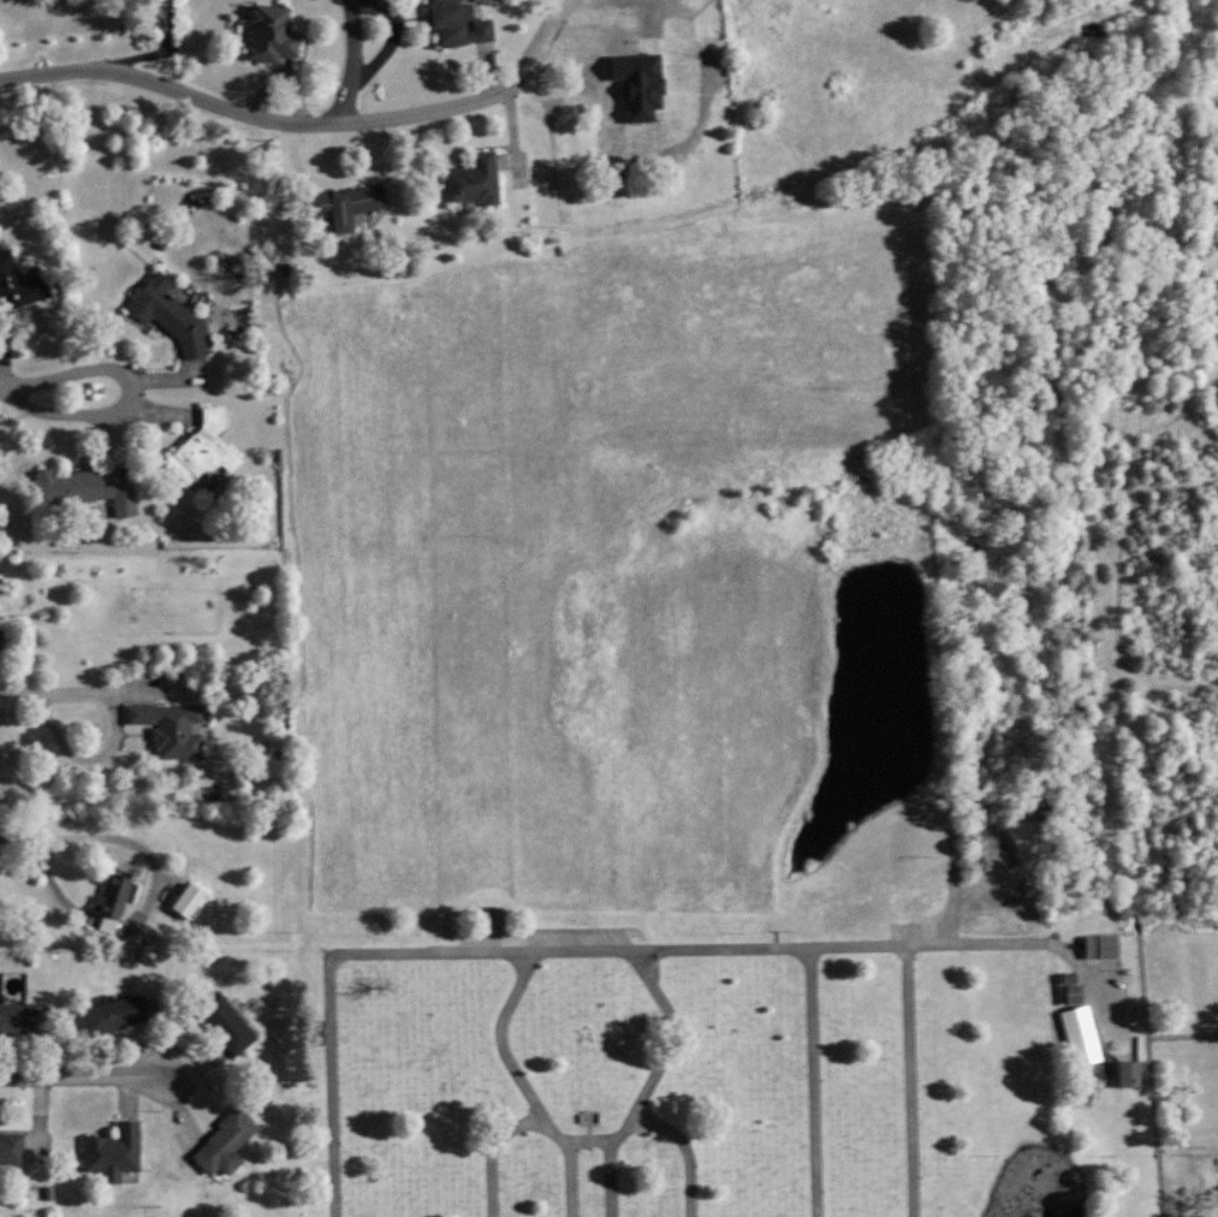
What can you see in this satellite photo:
building: (456, 24)
building: (269, 34)
road: (156, 53)
road: (353, 63)
building: (638, 84)
road: (308, 125)
building: (473, 180)
road: (346, 186)
building: (343, 206)
building: (19, 284)
building: (168, 315)
road: (1, 391)
road: (120, 414)
building: (202, 451)
building: (83, 489)
road: (79, 693)
building: (170, 728)
park: (653, 749)
road: (107, 843)
road: (956, 872)
building: (186, 900)
building: (111, 902)
building: (491, 919)
building: (1101, 945)
road: (612, 951)
road: (331, 982)
road: (1145, 990)
building: (114, 1014)
building: (16, 1017)
building: (225, 1022)
road: (1183, 1039)
building: (1129, 1074)
road: (83, 1076)
road: (910, 1081)
road: (814, 1082)
road: (1155, 1128)
building: (224, 1144)
building: (11, 1148)
road: (687, 1150)
building: (112, 1151)
road: (492, 1152)
road: (611, 1179)
road: (570, 1180)

